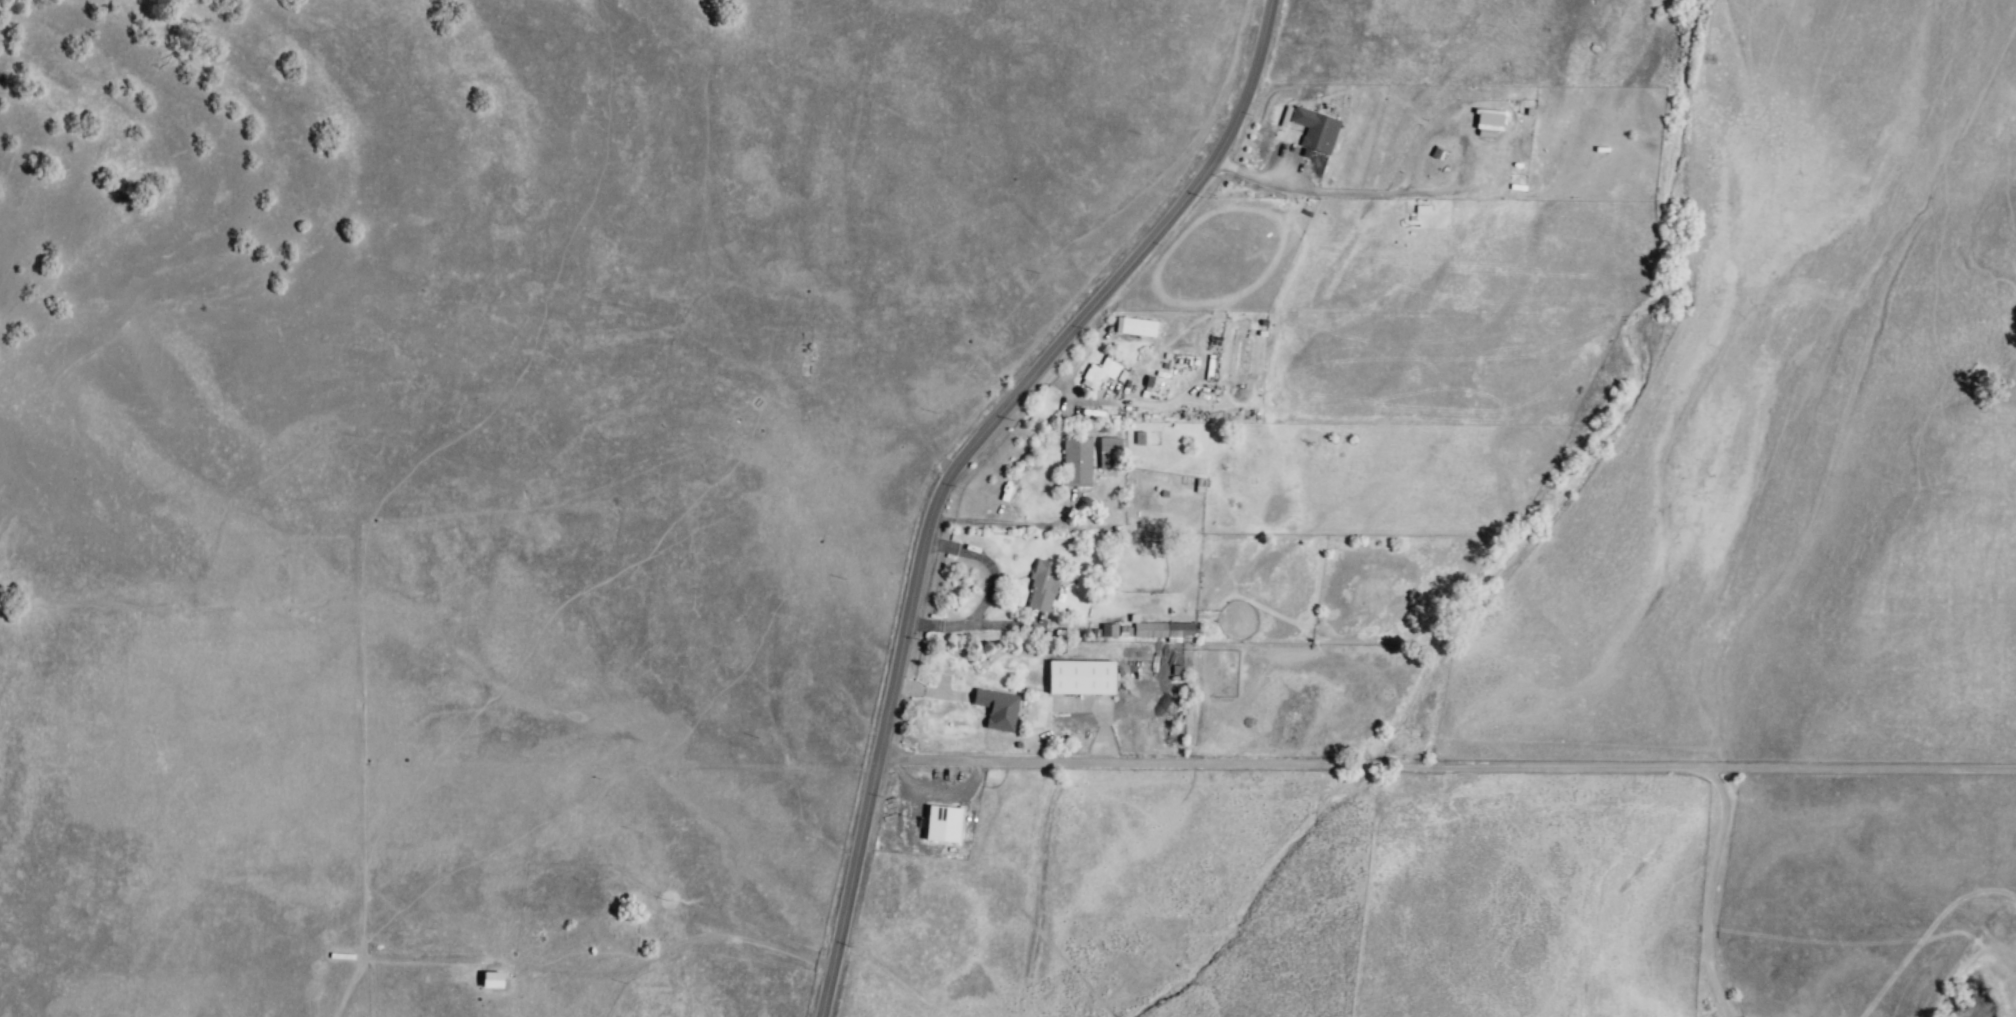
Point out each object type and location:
building: (1490, 123)
building: (1319, 131)
road: (1406, 193)
building: (1137, 328)
building: (1100, 374)
building: (1111, 454)
building: (1078, 462)
road: (958, 465)
road: (1002, 522)
building: (1044, 587)
road: (991, 592)
building: (1111, 631)
building: (1165, 632)
building: (1083, 679)
building: (999, 710)
road: (1420, 766)
building: (945, 825)
building: (494, 982)

